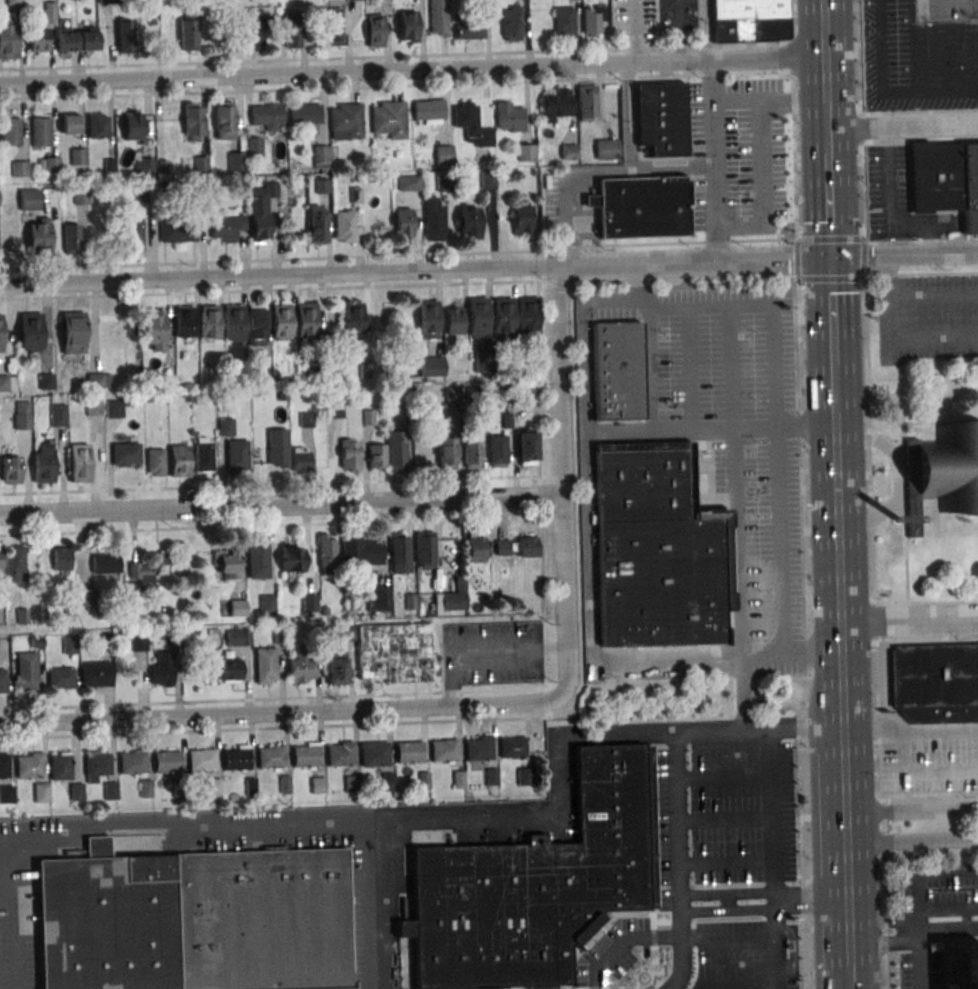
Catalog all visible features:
building: (107, 1)
building: (13, 2)
road: (922, 9)
building: (47, 12)
building: (438, 16)
building: (593, 18)
building: (564, 21)
building: (749, 21)
building: (511, 23)
building: (409, 26)
building: (467, 26)
building: (332, 27)
building: (252, 28)
road: (705, 29)
building: (291, 30)
building: (374, 30)
road: (679, 30)
building: (124, 34)
building: (187, 35)
building: (7, 38)
building: (37, 39)
building: (85, 39)
building: (63, 40)
road: (824, 52)
road: (396, 56)
road: (412, 67)
road: (397, 85)
building: (586, 101)
road: (769, 101)
building: (556, 104)
building: (428, 109)
road: (918, 112)
building: (266, 115)
building: (510, 116)
building: (661, 116)
building: (305, 117)
building: (388, 118)
road: (794, 119)
road: (858, 119)
building: (223, 120)
building: (192, 122)
building: (346, 122)
building: (68, 123)
building: (471, 123)
building: (132, 124)
road: (902, 125)
building: (96, 126)
road: (827, 129)
building: (10, 132)
building: (40, 132)
road: (918, 140)
building: (254, 146)
building: (606, 148)
building: (569, 151)
building: (526, 152)
building: (444, 154)
building: (78, 156)
building: (320, 156)
road: (626, 160)
building: (236, 161)
road: (713, 161)
building: (200, 163)
building: (48, 164)
building: (143, 165)
building: (108, 166)
building: (161, 166)
building: (19, 168)
building: (532, 172)
building: (946, 179)
building: (488, 180)
building: (444, 182)
building: (409, 183)
building: (322, 185)
road: (762, 187)
building: (162, 189)
road: (568, 191)
building: (138, 194)
building: (355, 195)
building: (80, 196)
building: (28, 199)
building: (640, 206)
road: (829, 206)
road: (887, 208)
building: (260, 212)
building: (521, 218)
building: (433, 219)
building: (403, 221)
building: (468, 223)
building: (227, 224)
building: (316, 224)
building: (344, 227)
building: (177, 229)
building: (132, 234)
building: (38, 238)
building: (70, 239)
road: (831, 239)
road: (920, 244)
road: (399, 255)
road: (864, 256)
road: (798, 260)
road: (488, 269)
road: (921, 273)
road: (831, 280)
road: (684, 283)
road: (557, 284)
road: (271, 289)
building: (526, 313)
road: (832, 313)
building: (477, 316)
building: (503, 316)
parking lot: (928, 317)
building: (351, 318)
building: (452, 318)
building: (427, 319)
building: (184, 321)
building: (208, 321)
building: (280, 321)
building: (305, 321)
building: (233, 322)
building: (256, 325)
building: (153, 328)
building: (29, 331)
building: (71, 331)
building: (0, 339)
building: (483, 362)
building: (431, 365)
road: (732, 367)
road: (689, 368)
building: (364, 370)
building: (616, 370)
building: (263, 371)
building: (311, 373)
building: (98, 380)
building: (288, 380)
building: (45, 381)
building: (3, 383)
building: (394, 388)
road: (834, 389)
building: (476, 393)
building: (522, 393)
building: (452, 394)
building: (149, 400)
building: (94, 408)
building: (115, 408)
building: (335, 409)
building: (21, 414)
building: (58, 414)
building: (368, 417)
building: (306, 419)
building: (506, 420)
road: (937, 421)
building: (226, 426)
road: (749, 429)
building: (278, 447)
building: (526, 447)
road: (867, 449)
building: (497, 450)
building: (396, 451)
building: (446, 452)
building: (471, 453)
building: (125, 454)
building: (350, 455)
building: (236, 456)
building: (377, 456)
building: (203, 457)
building: (155, 461)
building: (179, 461)
building: (300, 461)
building: (79, 463)
building: (44, 464)
building: (949, 466)
building: (10, 469)
road: (895, 478)
road: (560, 480)
road: (540, 483)
road: (903, 484)
road: (269, 485)
road: (280, 504)
road: (780, 513)
road: (270, 525)
road: (836, 526)
road: (738, 543)
building: (475, 545)
building: (526, 546)
building: (502, 547)
building: (424, 549)
building: (327, 552)
building: (361, 552)
building: (399, 553)
building: (653, 553)
building: (61, 558)
building: (292, 559)
building: (258, 561)
building: (14, 562)
building: (105, 563)
building: (230, 564)
building: (1, 565)
building: (149, 571)
building: (452, 596)
building: (87, 597)
building: (379, 598)
road: (924, 601)
building: (309, 602)
building: (409, 602)
building: (267, 603)
building: (70, 607)
building: (233, 607)
building: (324, 611)
building: (21, 615)
road: (907, 622)
road: (591, 623)
building: (347, 633)
building: (186, 634)
road: (807, 634)
building: (279, 635)
building: (238, 637)
building: (106, 638)
building: (174, 638)
road: (926, 638)
building: (36, 642)
building: (138, 642)
building: (70, 645)
road: (551, 650)
building: (395, 652)
road: (483, 653)
parking lot: (492, 653)
road: (753, 656)
building: (264, 665)
building: (301, 665)
building: (335, 668)
building: (163, 669)
building: (222, 670)
building: (25, 671)
building: (96, 674)
building: (60, 677)
building: (3, 681)
building: (935, 682)
road: (562, 685)
road: (452, 694)
road: (840, 695)
road: (272, 699)
road: (546, 703)
road: (566, 704)
road: (280, 712)
road: (273, 727)
building: (512, 746)
building: (478, 748)
building: (444, 750)
building: (409, 752)
building: (340, 754)
building: (374, 754)
building: (306, 755)
building: (237, 757)
building: (272, 757)
building: (202, 760)
building: (167, 761)
building: (133, 762)
building: (29, 764)
building: (4, 765)
building: (60, 766)
building: (96, 766)
road: (723, 774)
building: (524, 776)
building: (491, 777)
building: (458, 779)
building: (423, 780)
building: (388, 781)
building: (351, 783)
building: (285, 784)
building: (318, 784)
building: (250, 785)
building: (214, 786)
building: (145, 788)
building: (179, 789)
building: (111, 790)
building: (42, 792)
building: (76, 792)
building: (7, 794)
road: (928, 794)
road: (883, 805)
road: (559, 810)
road: (910, 810)
road: (677, 818)
road: (724, 819)
road: (187, 821)
road: (843, 836)
road: (910, 840)
building: (98, 847)
road: (930, 856)
road: (771, 859)
road: (725, 861)
building: (150, 868)
building: (534, 886)
road: (715, 902)
road: (946, 910)
building: (262, 919)
building: (105, 927)
building: (404, 928)
road: (880, 931)
road: (615, 935)
road: (726, 942)
road: (845, 944)
road: (917, 950)
road: (634, 961)
building: (971, 972)
road: (846, 978)
road: (738, 987)

